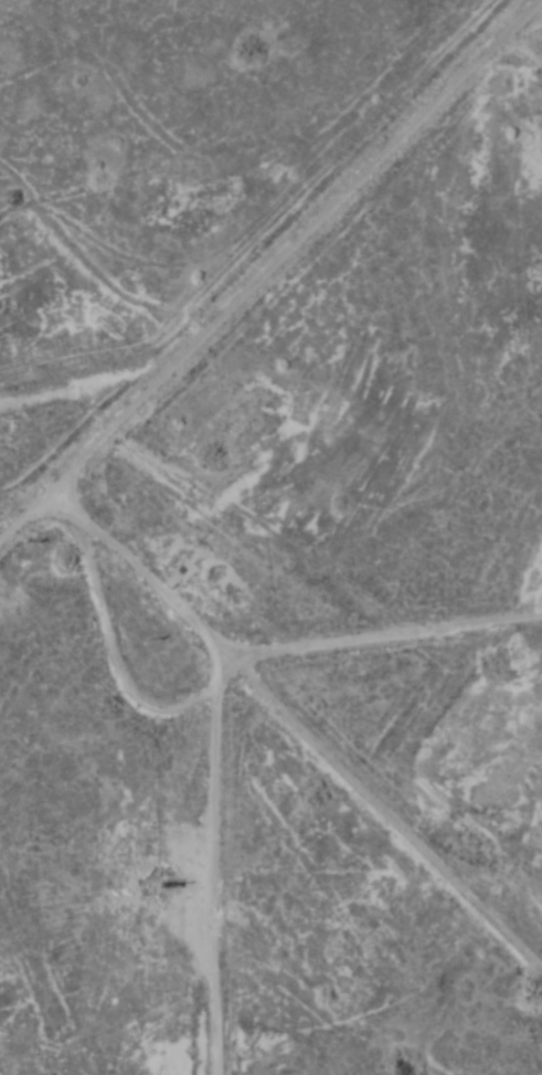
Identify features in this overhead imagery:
road: (522, 36)
road: (43, 476)
road: (20, 494)
road: (280, 759)

